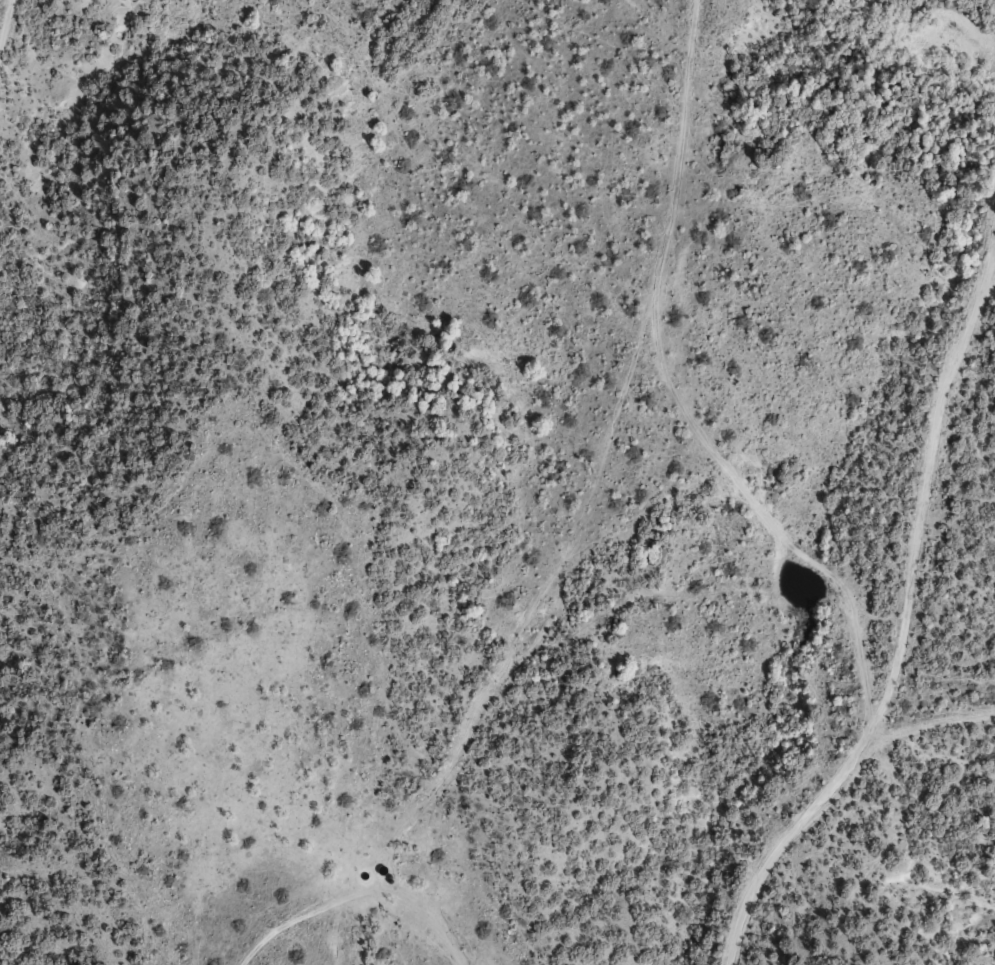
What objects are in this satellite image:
road: (13, 21)
road: (804, 787)
road: (365, 893)

